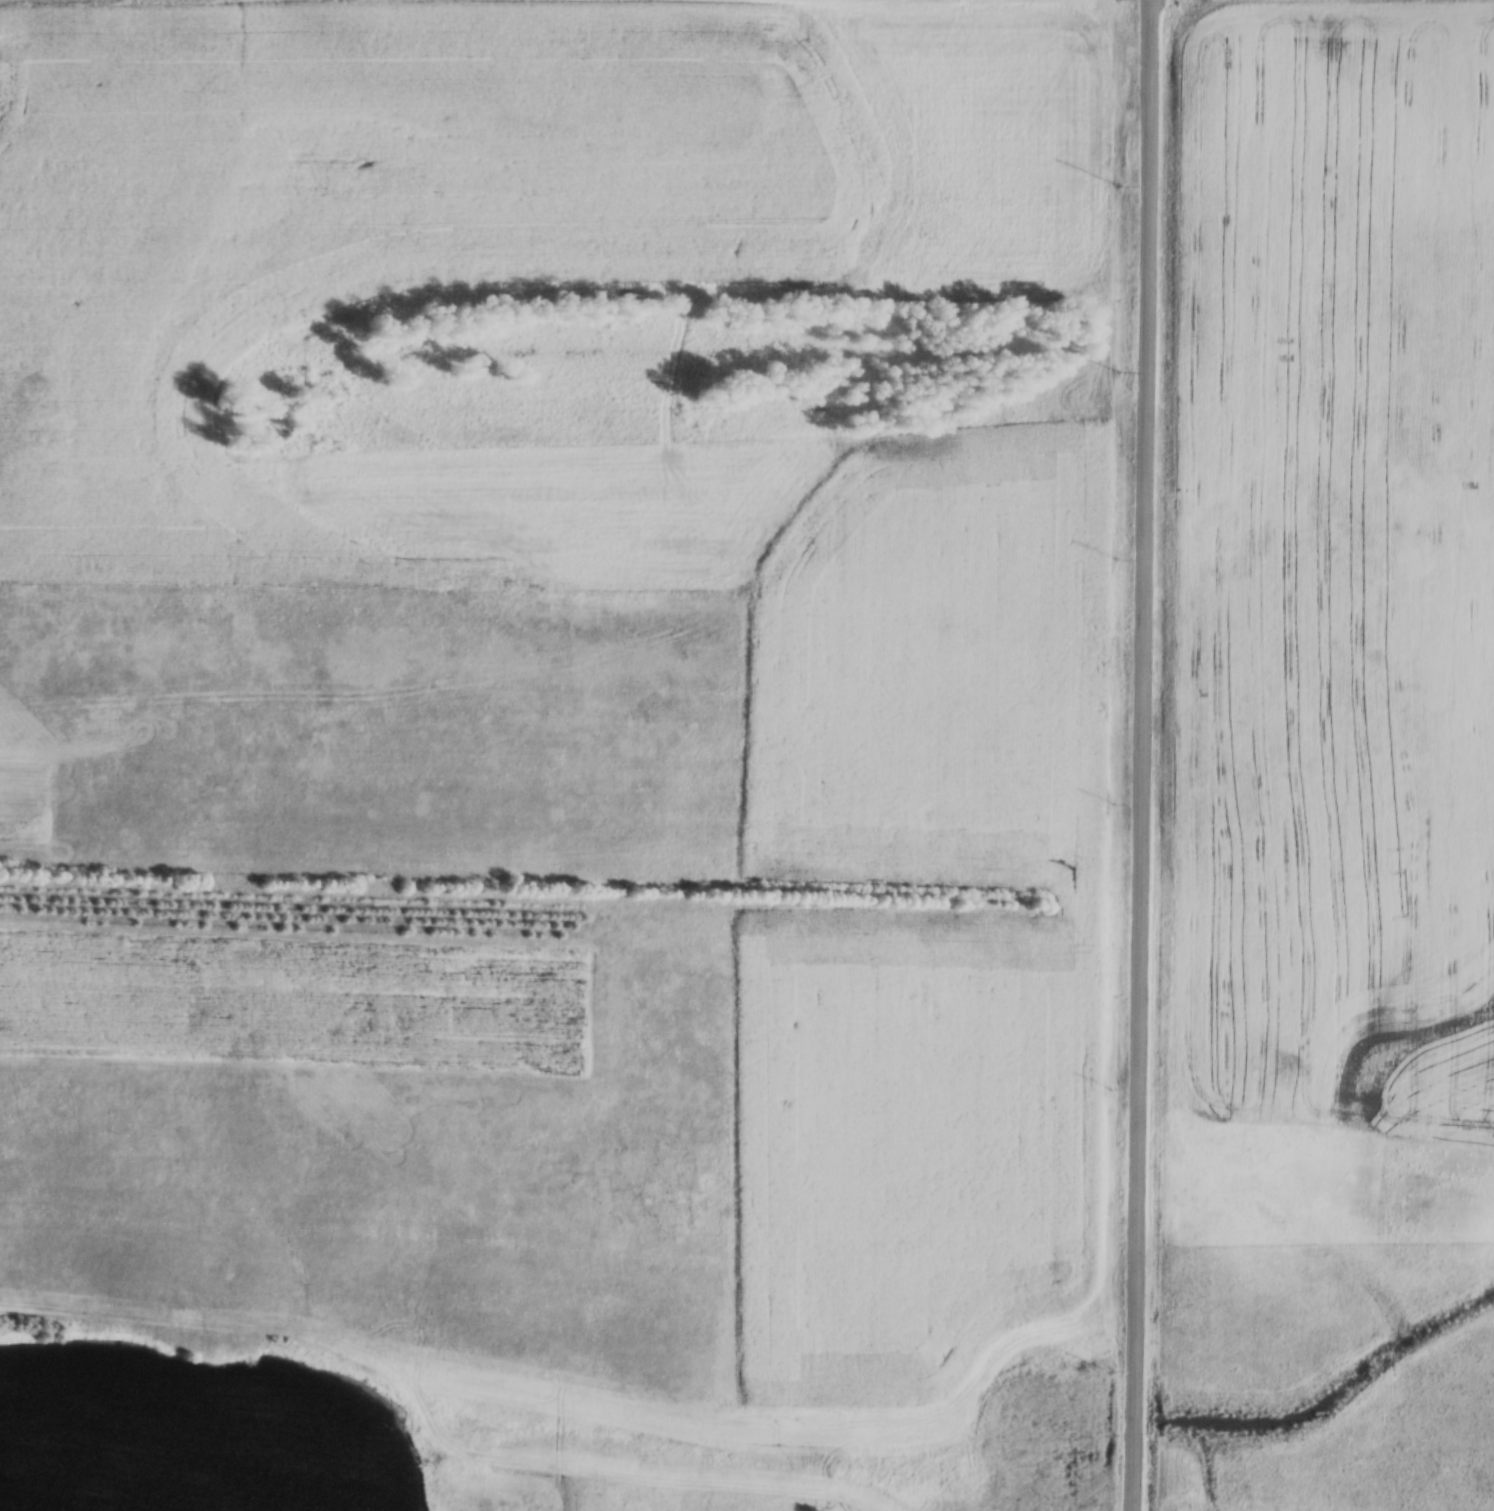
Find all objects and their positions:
road: (1142, 755)

